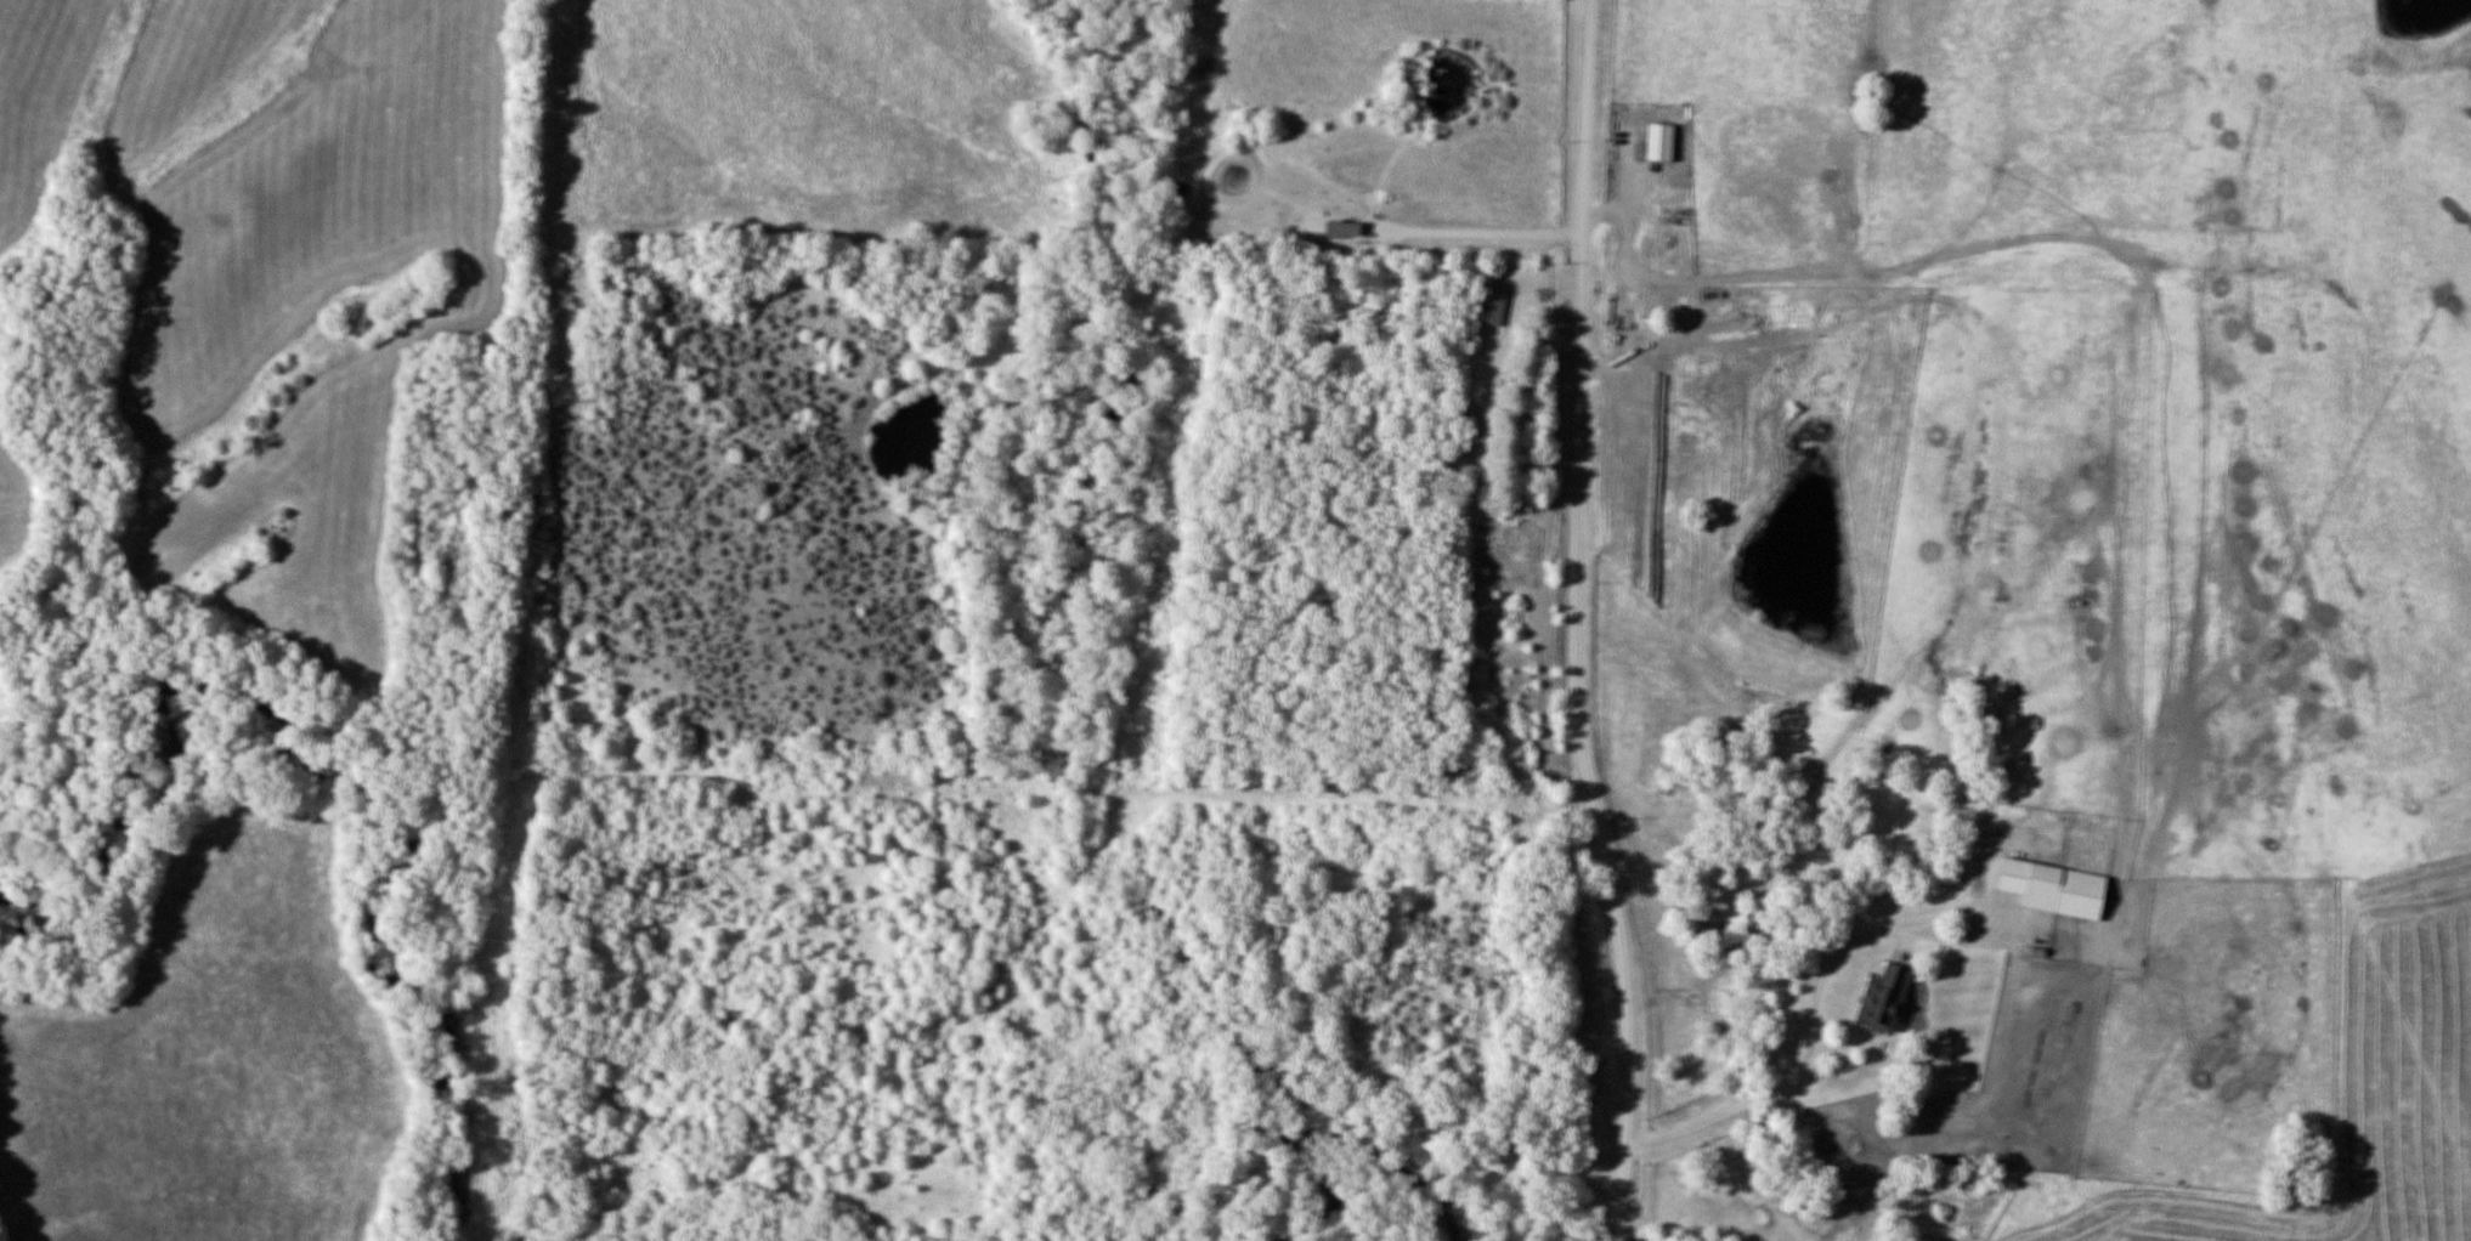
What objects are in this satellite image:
building: (1662, 142)
building: (1493, 304)
building: (1642, 421)
road: (1585, 620)
building: (2057, 888)
building: (1887, 999)

